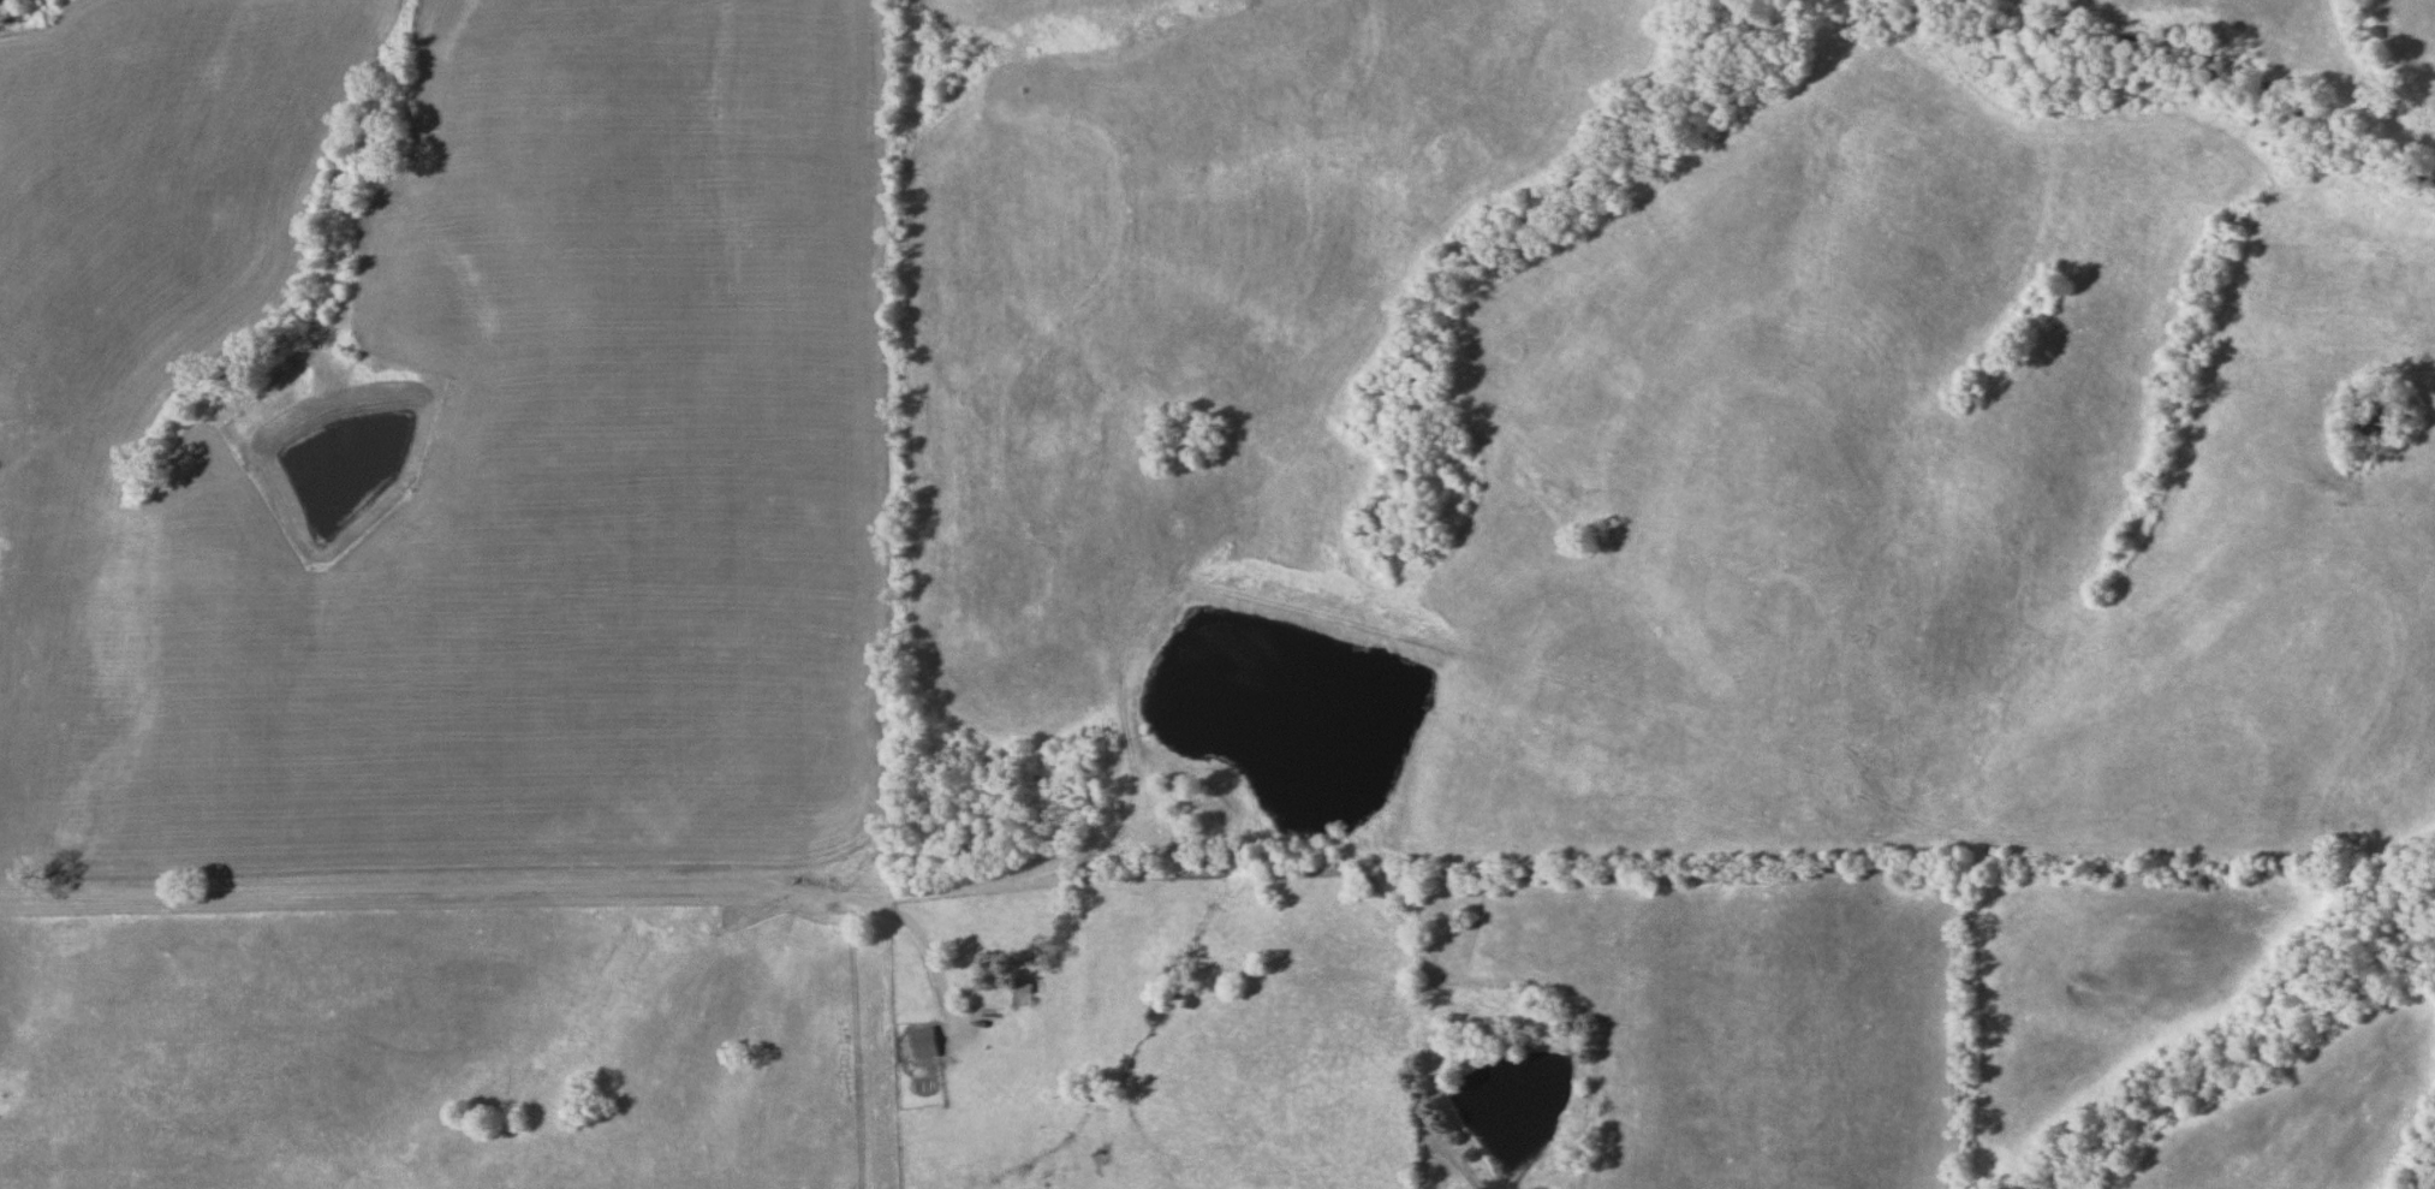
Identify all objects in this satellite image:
road: (518, 896)
road: (1696, 1023)
building: (924, 1044)

